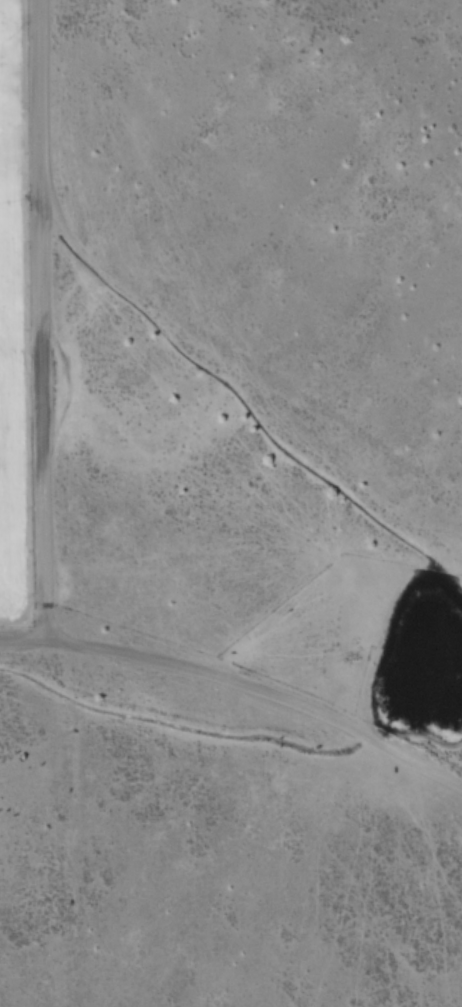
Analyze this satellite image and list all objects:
road: (47, 318)
road: (23, 636)
road: (262, 690)

